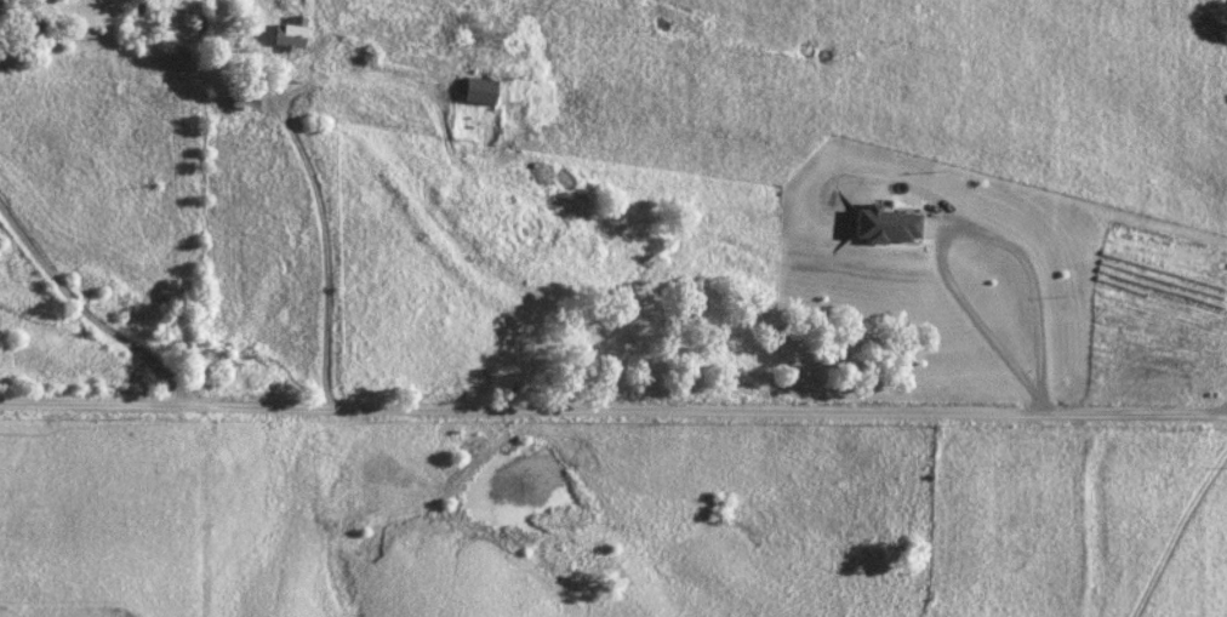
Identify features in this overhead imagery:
building: (287, 35)
building: (478, 92)
building: (242, 99)
road: (964, 225)
building: (885, 227)
road: (323, 252)
road: (81, 314)
road: (613, 409)

